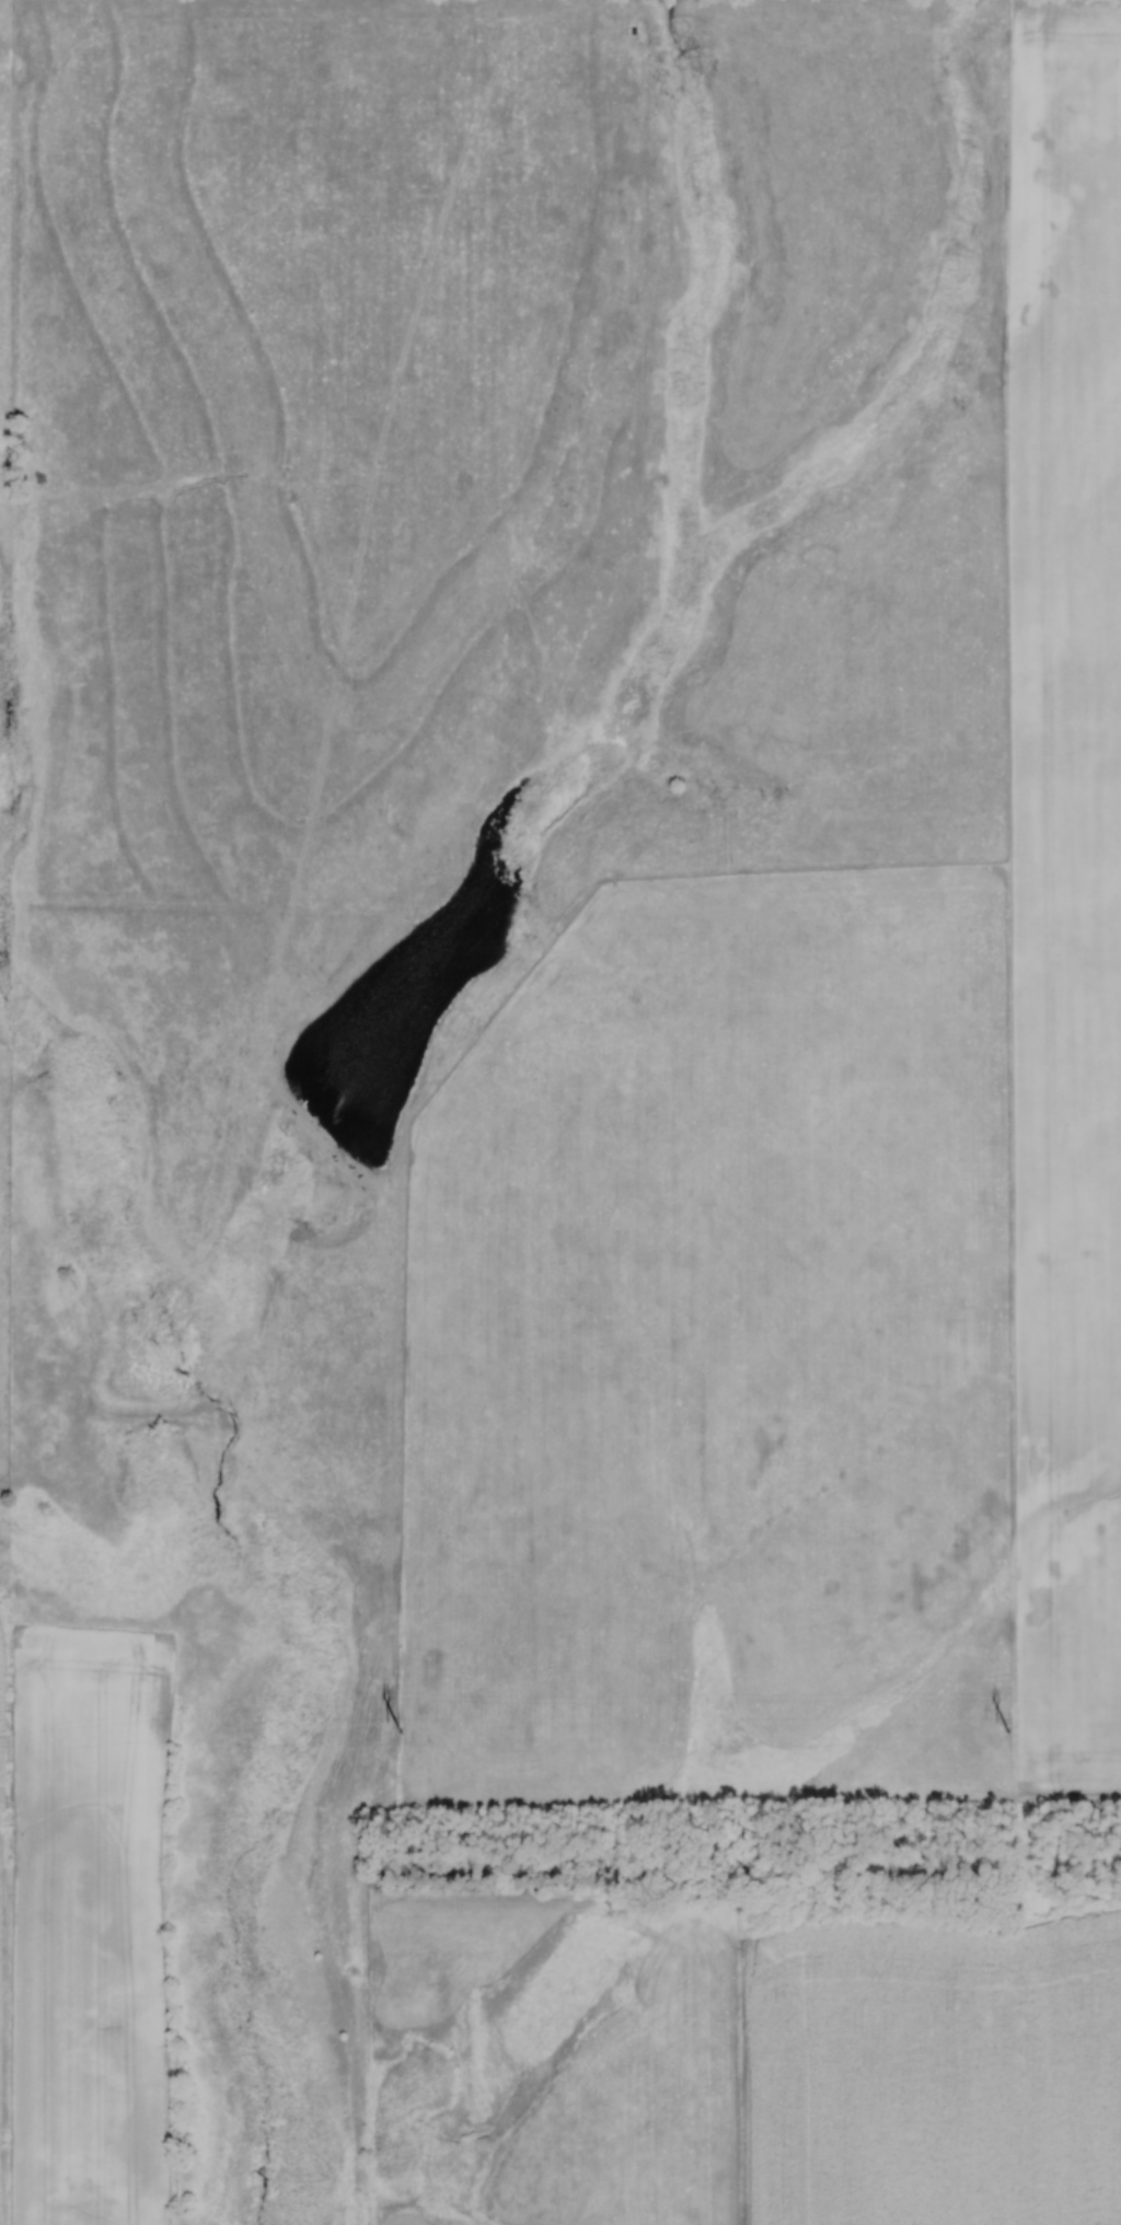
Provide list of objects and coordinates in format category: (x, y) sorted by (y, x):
power tower: (1006, 1731)
power tower: (400, 1733)

